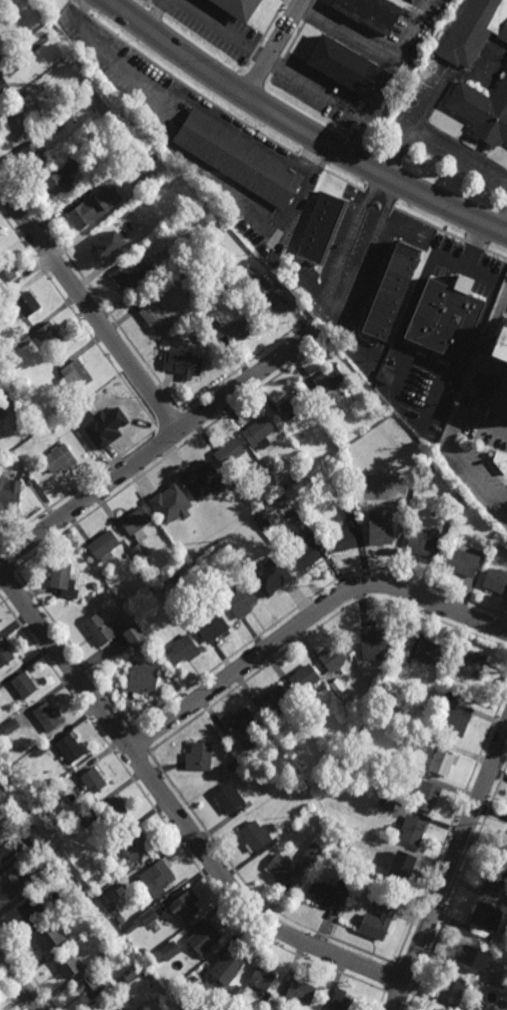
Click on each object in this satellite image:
road: (79, 8)
building: (237, 8)
building: (370, 12)
road: (202, 16)
building: (473, 30)
road: (370, 40)
road: (270, 47)
building: (8, 64)
building: (348, 67)
building: (83, 78)
building: (4, 87)
road: (191, 90)
road: (331, 98)
building: (23, 100)
road: (191, 101)
building: (481, 112)
building: (12, 124)
building: (52, 125)
road: (301, 129)
road: (430, 138)
building: (33, 154)
building: (74, 155)
building: (237, 159)
road: (311, 164)
building: (100, 169)
road: (344, 181)
building: (58, 184)
road: (379, 200)
building: (93, 207)
road: (502, 216)
road: (428, 224)
building: (321, 229)
road: (466, 229)
building: (144, 231)
road: (402, 231)
building: (103, 246)
building: (240, 267)
building: (188, 269)
building: (249, 273)
building: (5, 274)
building: (131, 275)
road: (90, 287)
building: (389, 291)
building: (26, 305)
building: (270, 305)
road: (89, 307)
road: (335, 310)
building: (151, 312)
building: (442, 319)
road: (78, 320)
road: (317, 328)
building: (187, 330)
building: (230, 331)
building: (49, 337)
building: (22, 341)
building: (500, 347)
building: (181, 362)
road: (242, 366)
road: (443, 373)
building: (75, 375)
building: (385, 376)
road: (397, 377)
building: (327, 386)
building: (465, 389)
building: (2, 401)
road: (432, 403)
building: (497, 404)
building: (292, 405)
building: (72, 410)
building: (2, 411)
building: (95, 419)
road: (169, 419)
building: (107, 420)
road: (189, 423)
building: (50, 428)
building: (257, 430)
road: (166, 440)
road: (158, 445)
road: (452, 448)
building: (228, 450)
road: (171, 455)
building: (58, 457)
building: (499, 459)
building: (423, 461)
building: (197, 473)
building: (505, 473)
building: (293, 477)
building: (25, 478)
building: (234, 482)
road: (78, 484)
building: (9, 491)
building: (456, 494)
building: (166, 497)
building: (349, 508)
building: (292, 513)
building: (256, 516)
building: (136, 521)
building: (265, 524)
building: (377, 524)
building: (301, 525)
building: (171, 528)
building: (343, 537)
building: (228, 540)
building: (421, 541)
building: (103, 544)
building: (140, 550)
building: (304, 554)
road: (7, 558)
building: (135, 560)
building: (460, 560)
building: (147, 561)
building: (196, 562)
building: (141, 567)
building: (151, 568)
road: (7, 574)
building: (272, 574)
building: (62, 578)
building: (495, 580)
building: (93, 584)
building: (240, 600)
road: (307, 600)
building: (181, 607)
road: (306, 619)
building: (209, 625)
building: (98, 627)
road: (316, 629)
building: (132, 633)
building: (373, 644)
building: (141, 645)
road: (73, 648)
building: (182, 649)
building: (428, 652)
building: (4, 653)
building: (334, 656)
building: (465, 664)
building: (141, 676)
building: (303, 678)
building: (23, 684)
building: (323, 687)
building: (337, 687)
building: (392, 690)
building: (446, 690)
building: (274, 700)
building: (46, 716)
building: (454, 720)
building: (10, 725)
building: (245, 728)
building: (418, 735)
road: (119, 736)
road: (139, 740)
building: (43, 747)
building: (69, 748)
building: (200, 757)
road: (136, 760)
building: (439, 761)
building: (233, 765)
building: (93, 780)
building: (2, 786)
building: (425, 795)
building: (228, 798)
building: (40, 803)
building: (386, 803)
building: (114, 810)
road: (174, 810)
building: (16, 816)
building: (86, 817)
road: (451, 822)
road: (166, 825)
building: (395, 828)
building: (328, 829)
building: (412, 830)
power tower: (485, 830)
building: (32, 834)
building: (254, 836)
building: (503, 844)
building: (128, 845)
building: (313, 852)
building: (3, 853)
building: (55, 861)
building: (282, 868)
road: (450, 868)
building: (399, 871)
building: (155, 878)
building: (495, 878)
building: (14, 883)
building: (342, 886)
road: (248, 887)
road: (456, 887)
building: (79, 891)
building: (320, 893)
building: (388, 898)
building: (104, 900)
building: (505, 904)
building: (182, 906)
building: (33, 909)
building: (114, 915)
building: (147, 917)
building: (485, 918)
building: (376, 922)
building: (130, 928)
building: (49, 937)
building: (204, 939)
building: (492, 939)
building: (169, 951)
building: (105, 952)
building: (143, 953)
building: (465, 954)
building: (232, 960)
building: (148, 961)
building: (66, 965)
road: (407, 969)
road: (27, 972)
building: (130, 973)
road: (388, 978)
building: (261, 979)
road: (19, 982)
building: (497, 982)
building: (87, 988)
building: (453, 991)
building: (300, 992)
building: (235, 993)
road: (9, 996)
road: (396, 999)
road: (380, 1001)
building: (342, 1002)
power tower: (410, 1004)
building: (144, 1005)
building: (104, 1008)
building: (109, 1008)

